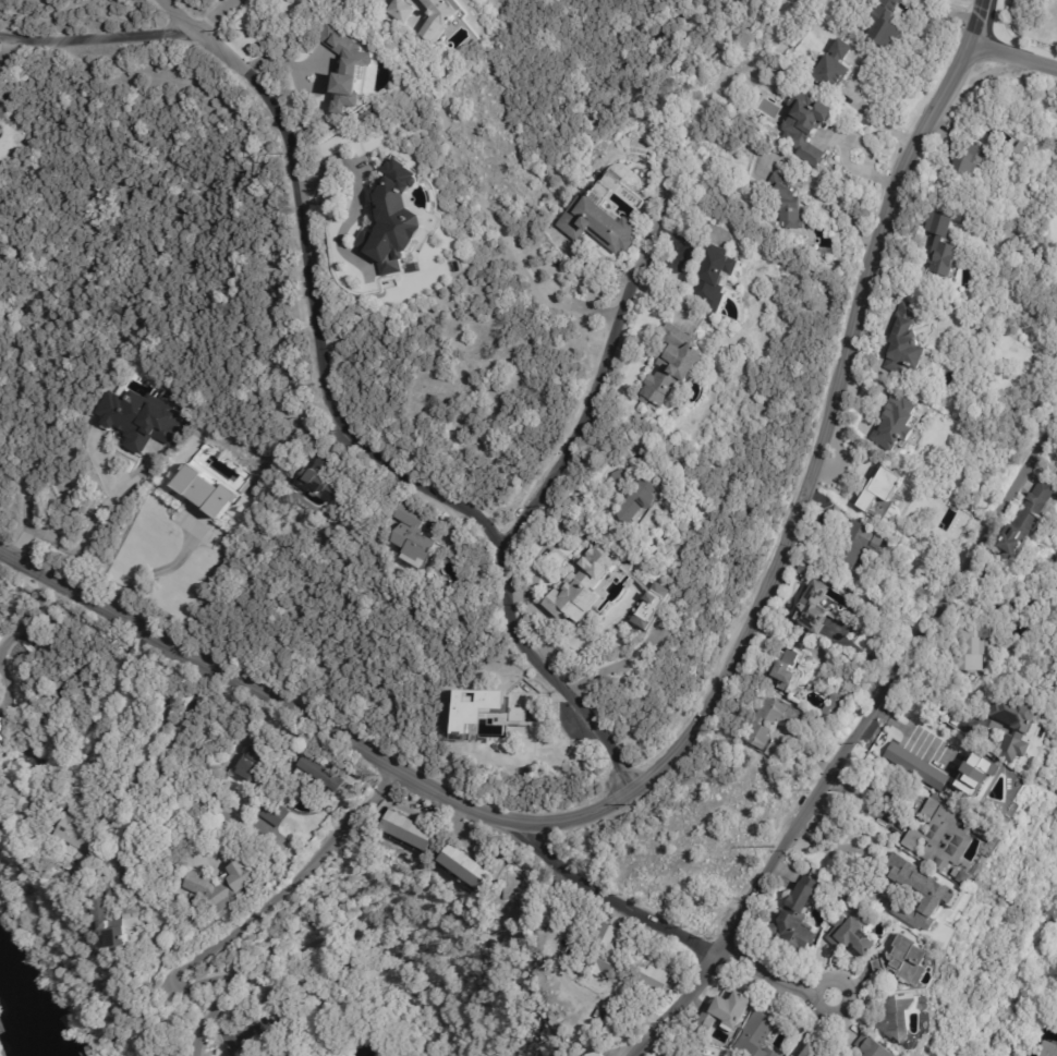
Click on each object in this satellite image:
building: (1056, 2)
building: (397, 12)
road: (216, 13)
road: (977, 22)
building: (447, 25)
building: (883, 25)
road: (106, 44)
road: (1012, 57)
building: (349, 64)
building: (830, 68)
building: (806, 126)
building: (1011, 146)
building: (961, 165)
building: (787, 207)
building: (602, 215)
building: (961, 218)
building: (404, 222)
road: (1020, 250)
building: (943, 259)
building: (715, 277)
building: (904, 340)
building: (671, 367)
road: (604, 371)
building: (139, 418)
building: (895, 424)
road: (347, 429)
building: (326, 478)
building: (205, 489)
building: (879, 491)
building: (630, 498)
building: (1024, 517)
building: (417, 533)
building: (854, 543)
road: (75, 553)
road: (157, 572)
building: (580, 590)
building: (810, 605)
road: (1000, 605)
road: (24, 615)
building: (963, 650)
building: (786, 671)
building: (1055, 671)
building: (94, 695)
road: (931, 702)
building: (473, 707)
building: (831, 707)
building: (517, 714)
building: (761, 723)
building: (1010, 725)
building: (2, 729)
road: (904, 731)
road: (848, 739)
building: (69, 742)
road: (676, 748)
building: (256, 761)
building: (915, 768)
road: (154, 774)
building: (321, 775)
building: (974, 775)
building: (22, 793)
road: (217, 802)
building: (277, 814)
road: (129, 817)
building: (263, 824)
building: (413, 830)
building: (85, 836)
building: (938, 836)
building: (472, 869)
building: (86, 870)
building: (958, 877)
road: (296, 882)
building: (232, 883)
building: (512, 883)
building: (934, 889)
road: (618, 894)
building: (846, 895)
building: (104, 909)
building: (797, 917)
building: (849, 933)
building: (600, 956)
building: (906, 959)
road: (772, 974)
building: (651, 979)
building: (724, 1013)
building: (891, 1018)
building: (613, 1021)
building: (756, 1034)
building: (870, 1047)
building: (813, 1051)
building: (703, 1054)
building: (593, 1055)
building: (792, 1055)

